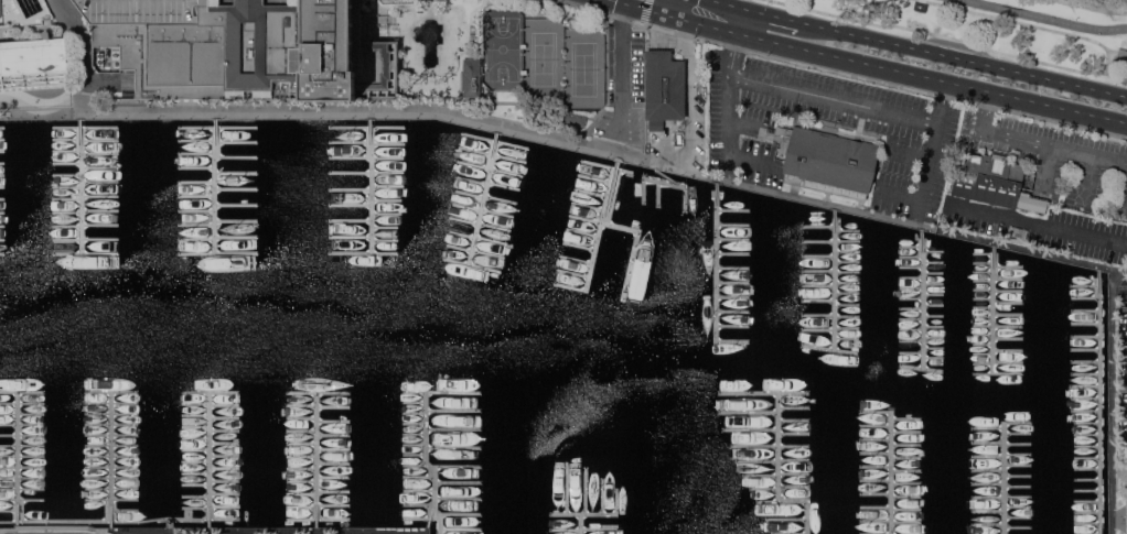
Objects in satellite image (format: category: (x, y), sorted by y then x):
traffic signals: (614, 0)
road: (874, 2)
road: (730, 3)
road: (635, 6)
road: (659, 6)
building: (22, 10)
road: (644, 10)
road: (884, 13)
road: (774, 14)
road: (1046, 18)
road: (1027, 23)
park: (1005, 29)
road: (1092, 33)
road: (952, 37)
building: (244, 48)
road: (1118, 51)
building: (33, 55)
road: (78, 55)
road: (964, 58)
park: (544, 59)
road: (892, 68)
park: (584, 70)
building: (471, 77)
building: (665, 86)
road: (831, 97)
road: (728, 102)
road: (426, 109)
building: (568, 117)
building: (580, 119)
road: (469, 120)
road: (690, 122)
pier: (2, 128)
pier: (86, 128)
pier: (217, 128)
pier: (367, 128)
parking lot: (898, 128)
building: (679, 138)
pier: (2, 140)
pier: (85, 140)
pier: (217, 141)
pier: (495, 141)
pier: (351, 142)
road: (1037, 142)
pier: (388, 144)
road: (908, 150)
pier: (2, 152)
pier: (66, 152)
road: (929, 153)
pier: (99, 154)
pier: (196, 154)
pier: (492, 154)
pier: (237, 157)
pier: (366, 157)
building: (828, 157)
pier: (2, 163)
pier: (66, 163)
pier: (473, 165)
pier: (608, 166)
pier: (196, 167)
pier: (100, 168)
pier: (237, 173)
pier: (366, 173)
pier: (506, 173)
pier: (2, 175)
pier: (67, 175)
pier: (648, 177)
pier: (594, 178)
road: (1086, 179)
pier: (471, 181)
pier: (100, 182)
pier: (196, 182)
building: (995, 182)
pier: (372, 183)
pier: (82, 184)
pier: (216, 184)
pier: (679, 184)
pier: (388, 186)
pier: (504, 186)
pier: (2, 187)
pier: (66, 187)
pier: (237, 189)
pier: (351, 190)
road: (899, 190)
pier: (591, 193)
pier: (657, 193)
pier: (470, 194)
pier: (100, 196)
pier: (197, 196)
pier: (484, 196)
road: (784, 197)
pier: (2, 199)
pier: (67, 199)
pier: (501, 199)
pier: (387, 200)
parking lot: (1060, 201)
pier: (236, 205)
pier: (351, 206)
pier: (466, 207)
pier: (589, 207)
road: (1126, 209)
pier: (733, 210)
pier: (86, 211)
pier: (196, 211)
pier: (2, 212)
pier: (497, 212)
pier: (387, 214)
pier: (586, 218)
pier: (351, 220)
pier: (463, 220)
pier: (236, 221)
pier: (602, 224)
pier: (196, 225)
pier: (733, 225)
road: (1041, 225)
pier: (86, 226)
pier: (818, 226)
pier: (2, 227)
pier: (385, 227)
pier: (494, 227)
pier: (848, 230)
pier: (582, 232)
building: (1018, 233)
pier: (462, 235)
pier: (351, 237)
pier: (218, 238)
pier: (85, 239)
pier: (733, 239)
pier: (2, 240)
pier: (385, 240)
pier: (492, 240)
pier: (829, 241)
pier: (910, 246)
pier: (580, 247)
pier: (635, 248)
pier: (475, 251)
pier: (848, 251)
pier: (933, 251)
pier: (85, 253)
pier: (363, 253)
pier: (733, 253)
pier: (984, 253)
pier: (2, 254)
pier: (218, 254)
pier: (818, 255)
pier: (911, 255)
pier: (577, 259)
pier: (848, 262)
pier: (933, 262)
pier: (984, 262)
pier: (472, 264)
pier: (911, 266)
pier: (1009, 266)
pier: (733, 268)
pier: (830, 271)
pier: (984, 272)
pier: (573, 273)
pier: (933, 273)
pier: (717, 276)
pier: (911, 277)
pier: (1009, 277)
pier: (836, 279)
pier: (984, 281)
pier: (733, 282)
pier: (848, 282)
pier: (933, 284)
pier: (818, 285)
pier: (1085, 286)
pier: (911, 287)
pier: (571, 288)
pier: (998, 290)
pier: (848, 293)
pier: (933, 294)
pier: (733, 297)
pier: (923, 297)
pier: (911, 298)
pier: (984, 298)
pier: (1085, 298)
pier: (818, 301)
pier: (1009, 302)
pier: (847, 305)
pier: (933, 305)
pier: (984, 307)
pier: (911, 308)
pier: (995, 308)
pier: (733, 310)
pier: (1085, 313)
road: (1114, 313)
pier: (1009, 314)
pier: (933, 315)
pier: (830, 316)
pier: (984, 316)
pier: (911, 319)
pier: (733, 325)
pier: (1084, 325)
pier: (934, 326)
pier: (998, 326)
pier: (847, 328)
pier: (911, 329)
pier: (818, 330)
pier: (984, 335)
pier: (934, 337)
pier: (1085, 337)
pier: (847, 338)
pier: (1008, 338)
pier: (911, 340)
pier: (984, 344)
pier: (934, 347)
pier: (830, 349)
pier: (1085, 349)
pier: (1008, 350)
pier: (911, 352)
pier: (984, 353)
pier: (934, 358)
pier: (1085, 362)
pier: (998, 363)
pier: (922, 368)
pier: (1085, 373)
pier: (998, 374)
pier: (1084, 386)
pier: (22, 392)
pier: (111, 392)
pier: (211, 392)
pier: (318, 392)
pier: (441, 392)
pier: (764, 392)
pier: (1085, 399)
pier: (1099, 400)
pier: (22, 403)
pier: (111, 403)
pier: (415, 403)
pier: (195, 404)
pier: (224, 404)
pier: (301, 405)
pier: (333, 407)
pier: (793, 407)
pier: (453, 411)
pier: (1085, 411)
pier: (749, 412)
pier: (415, 413)
pier: (22, 414)
pier: (111, 414)
pier: (195, 416)
pier: (224, 417)
pier: (301, 418)
pier: (906, 418)
pier: (794, 421)
pier: (333, 422)
pier: (415, 423)
pier: (1087, 423)
pier: (22, 425)
pier: (111, 425)
pier: (876, 425)
pier: (195, 427)
pier: (988, 428)
pier: (454, 429)
pier: (224, 431)
pier: (750, 431)
pier: (301, 432)
pier: (906, 432)
pier: (415, 434)
pier: (794, 434)
pier: (1018, 434)
pier: (1086, 434)
pier: (22, 435)
pier: (111, 435)
pier: (333, 435)
pier: (195, 438)
pier: (876, 439)
pier: (1001, 443)
pier: (224, 444)
pier: (301, 444)
pier: (906, 444)
pier: (22, 445)
pier: (415, 445)
pier: (111, 446)
pier: (771, 446)
pier: (1086, 446)
pier: (454, 447)
pier: (333, 449)
pier: (195, 450)
pier: (876, 453)
pier: (225, 455)
pier: (415, 455)
pier: (1001, 455)
pier: (111, 456)
pier: (22, 457)
pier: (301, 457)
pier: (906, 457)
pier: (211, 458)
pier: (891, 458)
pier: (1086, 458)
pier: (17, 459)
pier: (111, 459)
pier: (316, 459)
pier: (196, 461)
pier: (773, 461)
pier: (333, 464)
pier: (415, 465)
pier: (428, 465)
pier: (1005, 465)
pier: (1018, 465)
pier: (876, 466)
pier: (111, 467)
pier: (22, 468)
pier: (225, 468)
pier: (301, 468)
pier: (458, 468)
pier: (1086, 469)
pier: (906, 470)
pier: (988, 470)
pier: (196, 473)
pier: (1018, 475)
pier: (776, 476)
pier: (333, 477)
pier: (419, 477)
pier: (779, 477)
pier: (22, 478)
pier: (111, 478)
pier: (876, 480)
pier: (1087, 480)
pier: (225, 481)
pier: (301, 481)
pier: (459, 482)
pier: (906, 482)
pier: (989, 483)
pier: (196, 484)
pier: (1019, 487)
pier: (566, 488)
pier: (22, 489)
pier: (111, 489)
pier: (780, 489)
pier: (586, 490)
pier: (333, 491)
pier: (419, 491)
pier: (1086, 491)
pier: (225, 493)
pier: (876, 493)
pier: (301, 494)
pier: (196, 497)
pier: (603, 497)
pier: (906, 497)
pier: (459, 498)
pier: (1002, 498)
pier: (22, 500)
pier: (111, 500)
pier: (768, 500)
pier: (1086, 501)
pier: (333, 504)
pier: (419, 504)
pier: (301, 506)
pier: (876, 506)
pier: (1019, 506)
pier: (211, 508)
building: (1126, 509)
pier: (126, 510)
pier: (906, 510)
pier: (22, 511)
pier: (989, 511)
pier: (1087, 512)
pier: (597, 514)
road: (1119, 514)
pier: (431, 515)
pier: (461, 515)
pier: (1019, 516)
pier: (423, 519)
pier: (786, 519)
pier: (319, 520)
pier: (891, 521)
pier: (119, 522)
pier: (1087, 523)
pier: (581, 524)
pier: (989, 524)
pier: (1019, 527)
pier: (461, 530)
pier: (583, 530)
pier: (790, 533)
pier: (891, 533)
pier: (1086, 533)

